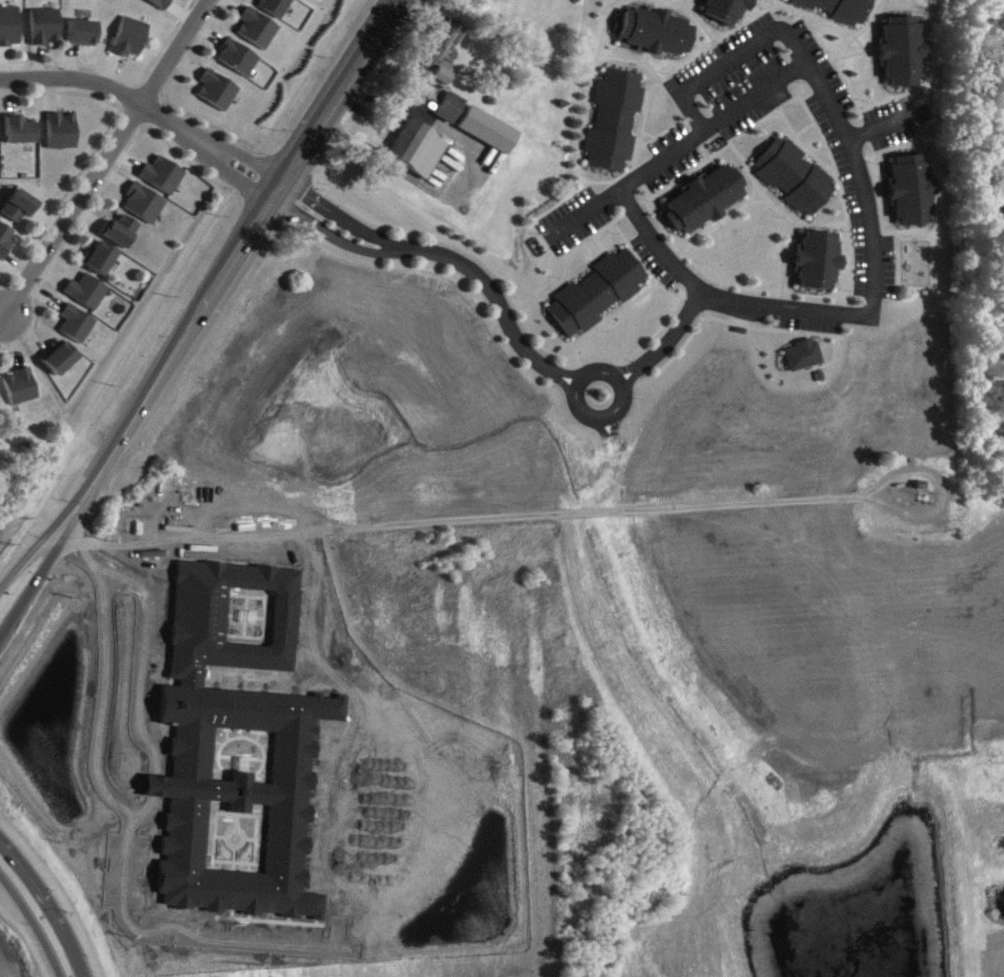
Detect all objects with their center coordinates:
building: (160, 4)
building: (278, 9)
building: (838, 11)
building: (727, 13)
building: (10, 31)
building: (46, 31)
building: (259, 33)
building: (654, 36)
building: (83, 37)
building: (131, 41)
building: (446, 43)
building: (902, 56)
road: (725, 59)
building: (239, 62)
building: (445, 80)
building: (219, 95)
road: (140, 108)
building: (453, 112)
building: (615, 125)
building: (490, 134)
building: (18, 135)
building: (61, 135)
road: (675, 148)
building: (419, 154)
road: (101, 156)
building: (164, 179)
road: (857, 180)
building: (795, 181)
building: (911, 194)
building: (704, 204)
building: (145, 207)
building: (20, 210)
road: (213, 214)
building: (122, 235)
road: (231, 242)
building: (4, 246)
road: (441, 255)
building: (101, 262)
building: (818, 265)
building: (88, 295)
building: (597, 297)
road: (716, 298)
building: (77, 328)
road: (666, 345)
building: (804, 359)
building: (61, 362)
road: (38, 372)
road: (572, 385)
building: (22, 391)
road: (42, 497)
road: (456, 522)
road: (39, 536)
road: (43, 562)
road: (139, 663)
road: (153, 784)
road: (143, 808)
road: (126, 830)
road: (56, 895)
road: (45, 908)
road: (31, 926)
road: (25, 940)

